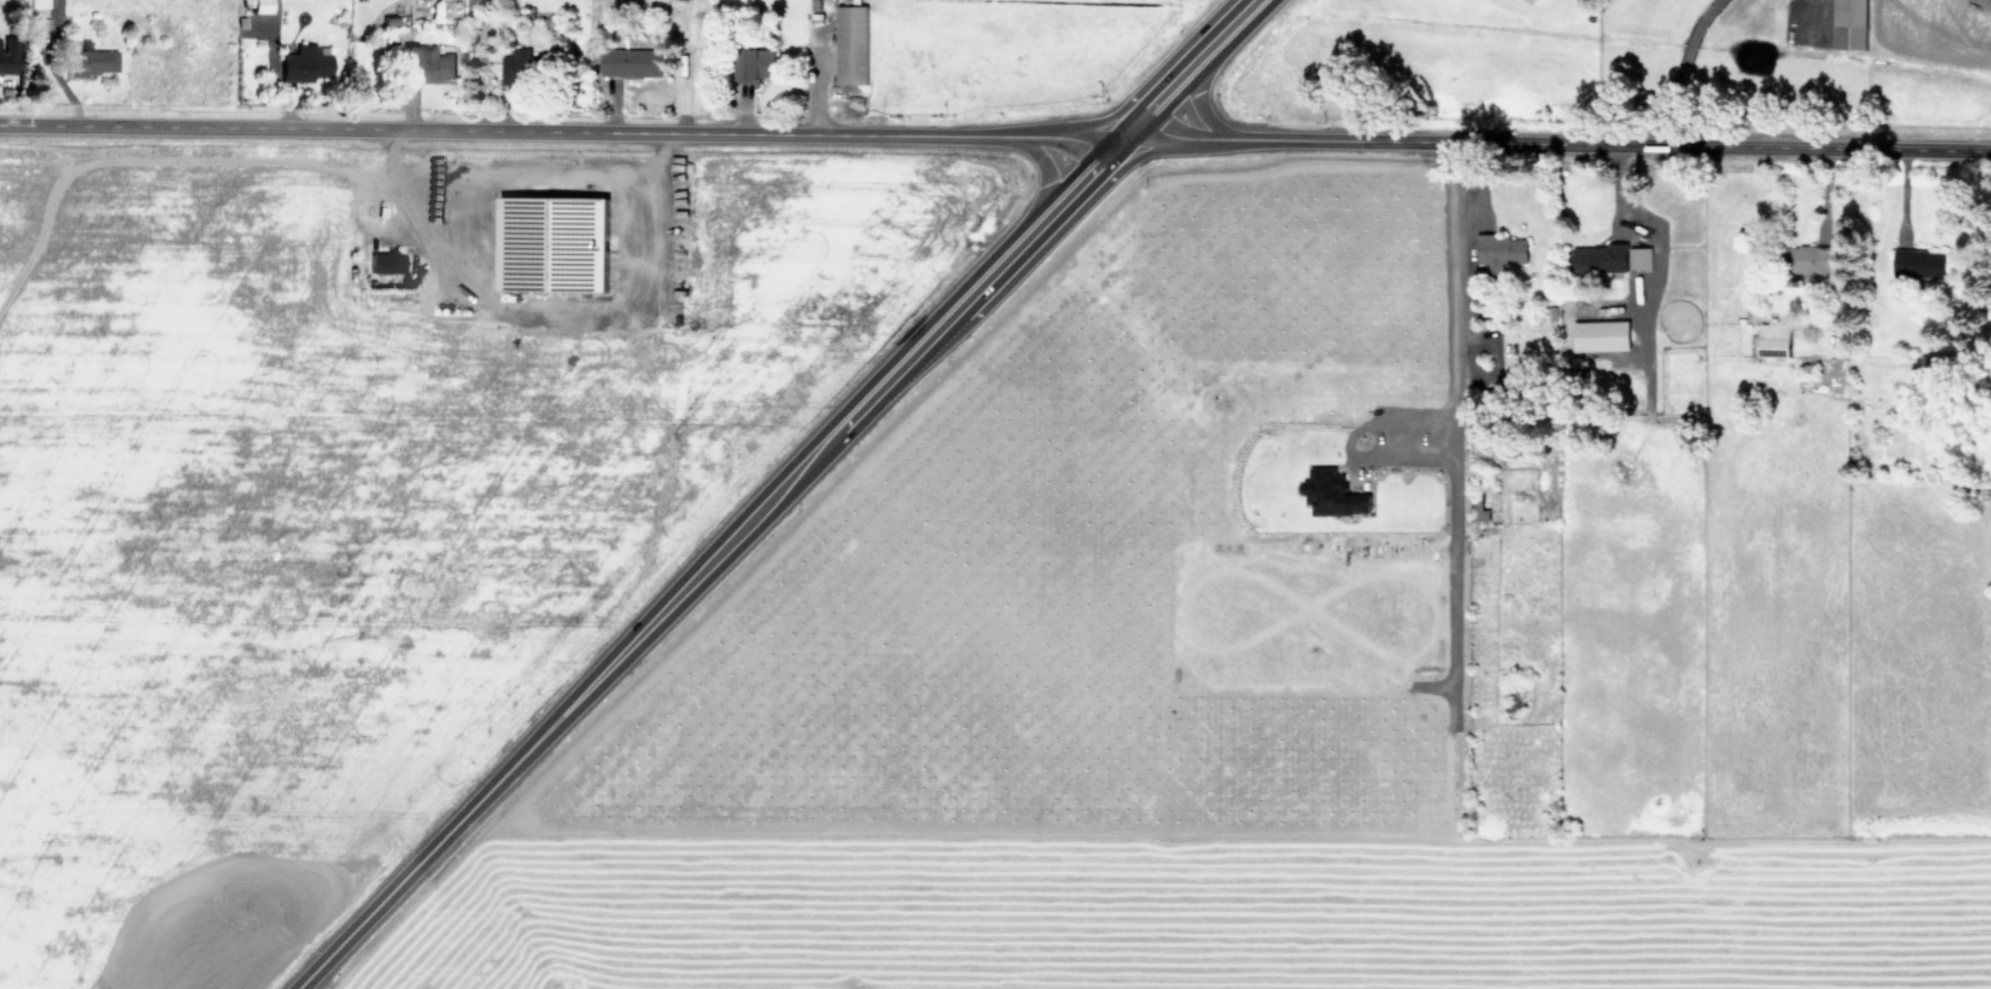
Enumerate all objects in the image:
building: (262, 7)
building: (38, 8)
building: (1851, 26)
road: (1228, 30)
building: (40, 31)
building: (852, 44)
crop: (596, 50)
building: (7, 64)
building: (90, 65)
building: (427, 66)
building: (631, 66)
building: (304, 67)
building: (756, 67)
building: (518, 69)
road: (1683, 70)
road: (1149, 84)
road: (1165, 93)
road: (1202, 106)
road: (498, 132)
road: (1162, 134)
road: (1022, 138)
road: (1121, 140)
road: (1078, 141)
road: (1211, 141)
road: (1610, 147)
road: (1044, 165)
road: (1077, 187)
road: (1039, 253)
building: (1501, 254)
building: (1640, 260)
building: (1600, 261)
building: (1808, 261)
building: (386, 264)
building: (1921, 266)
road: (969, 300)
road: (1445, 302)
building: (1498, 311)
road: (549, 319)
building: (1775, 342)
building: (1949, 357)
building: (1487, 403)
building: (1481, 504)
crop: (984, 627)
road: (594, 683)

